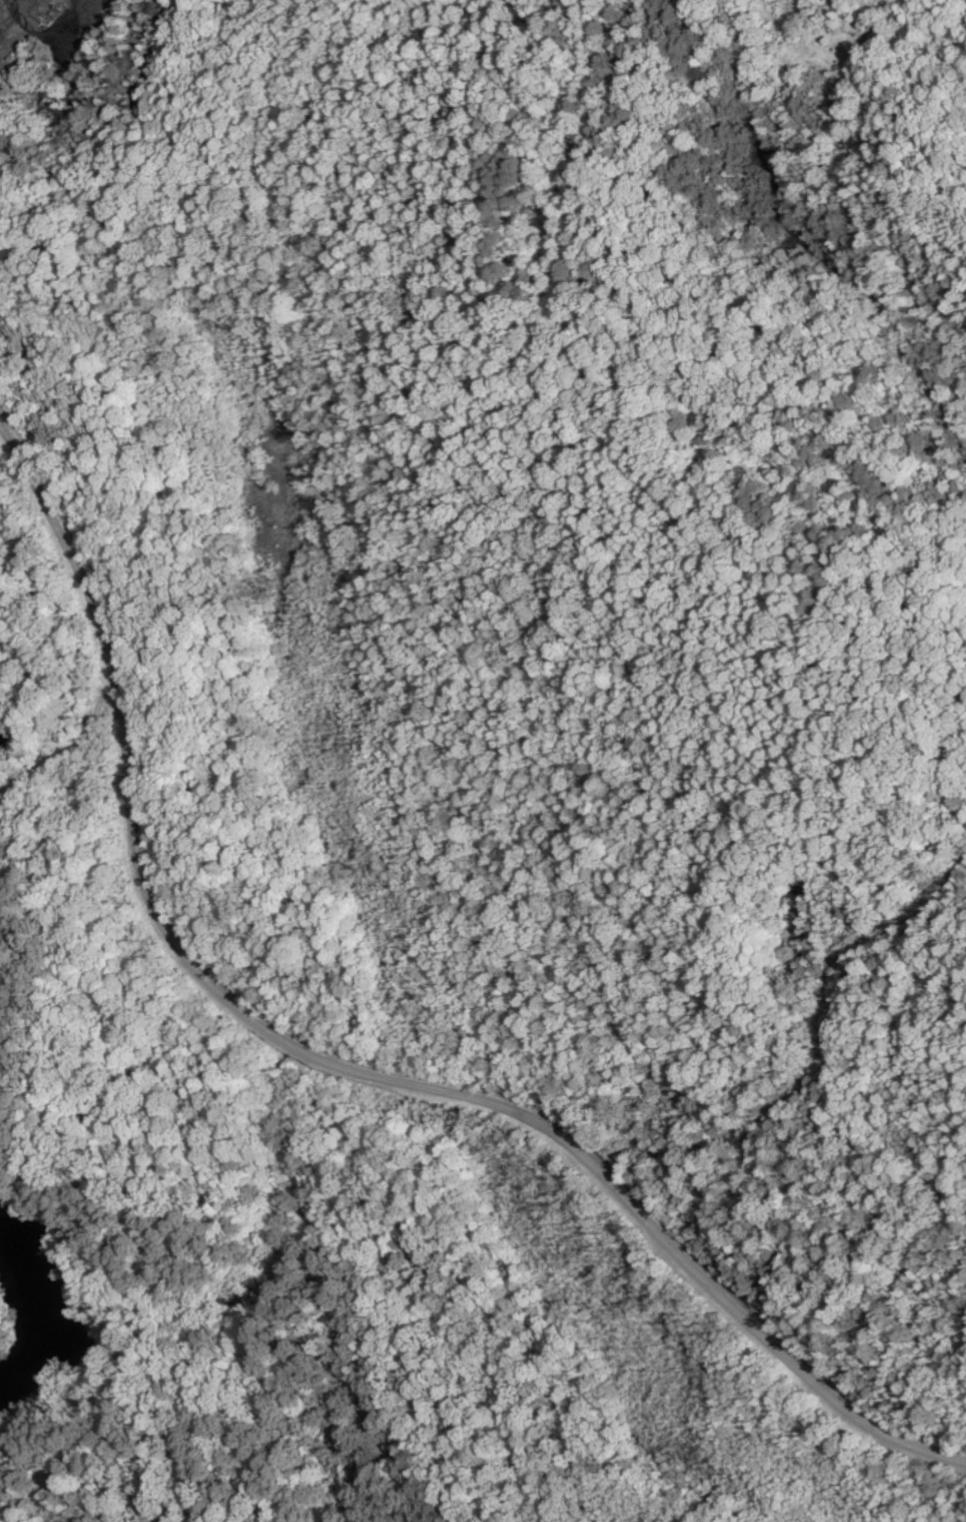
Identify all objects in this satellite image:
road: (337, 1067)

